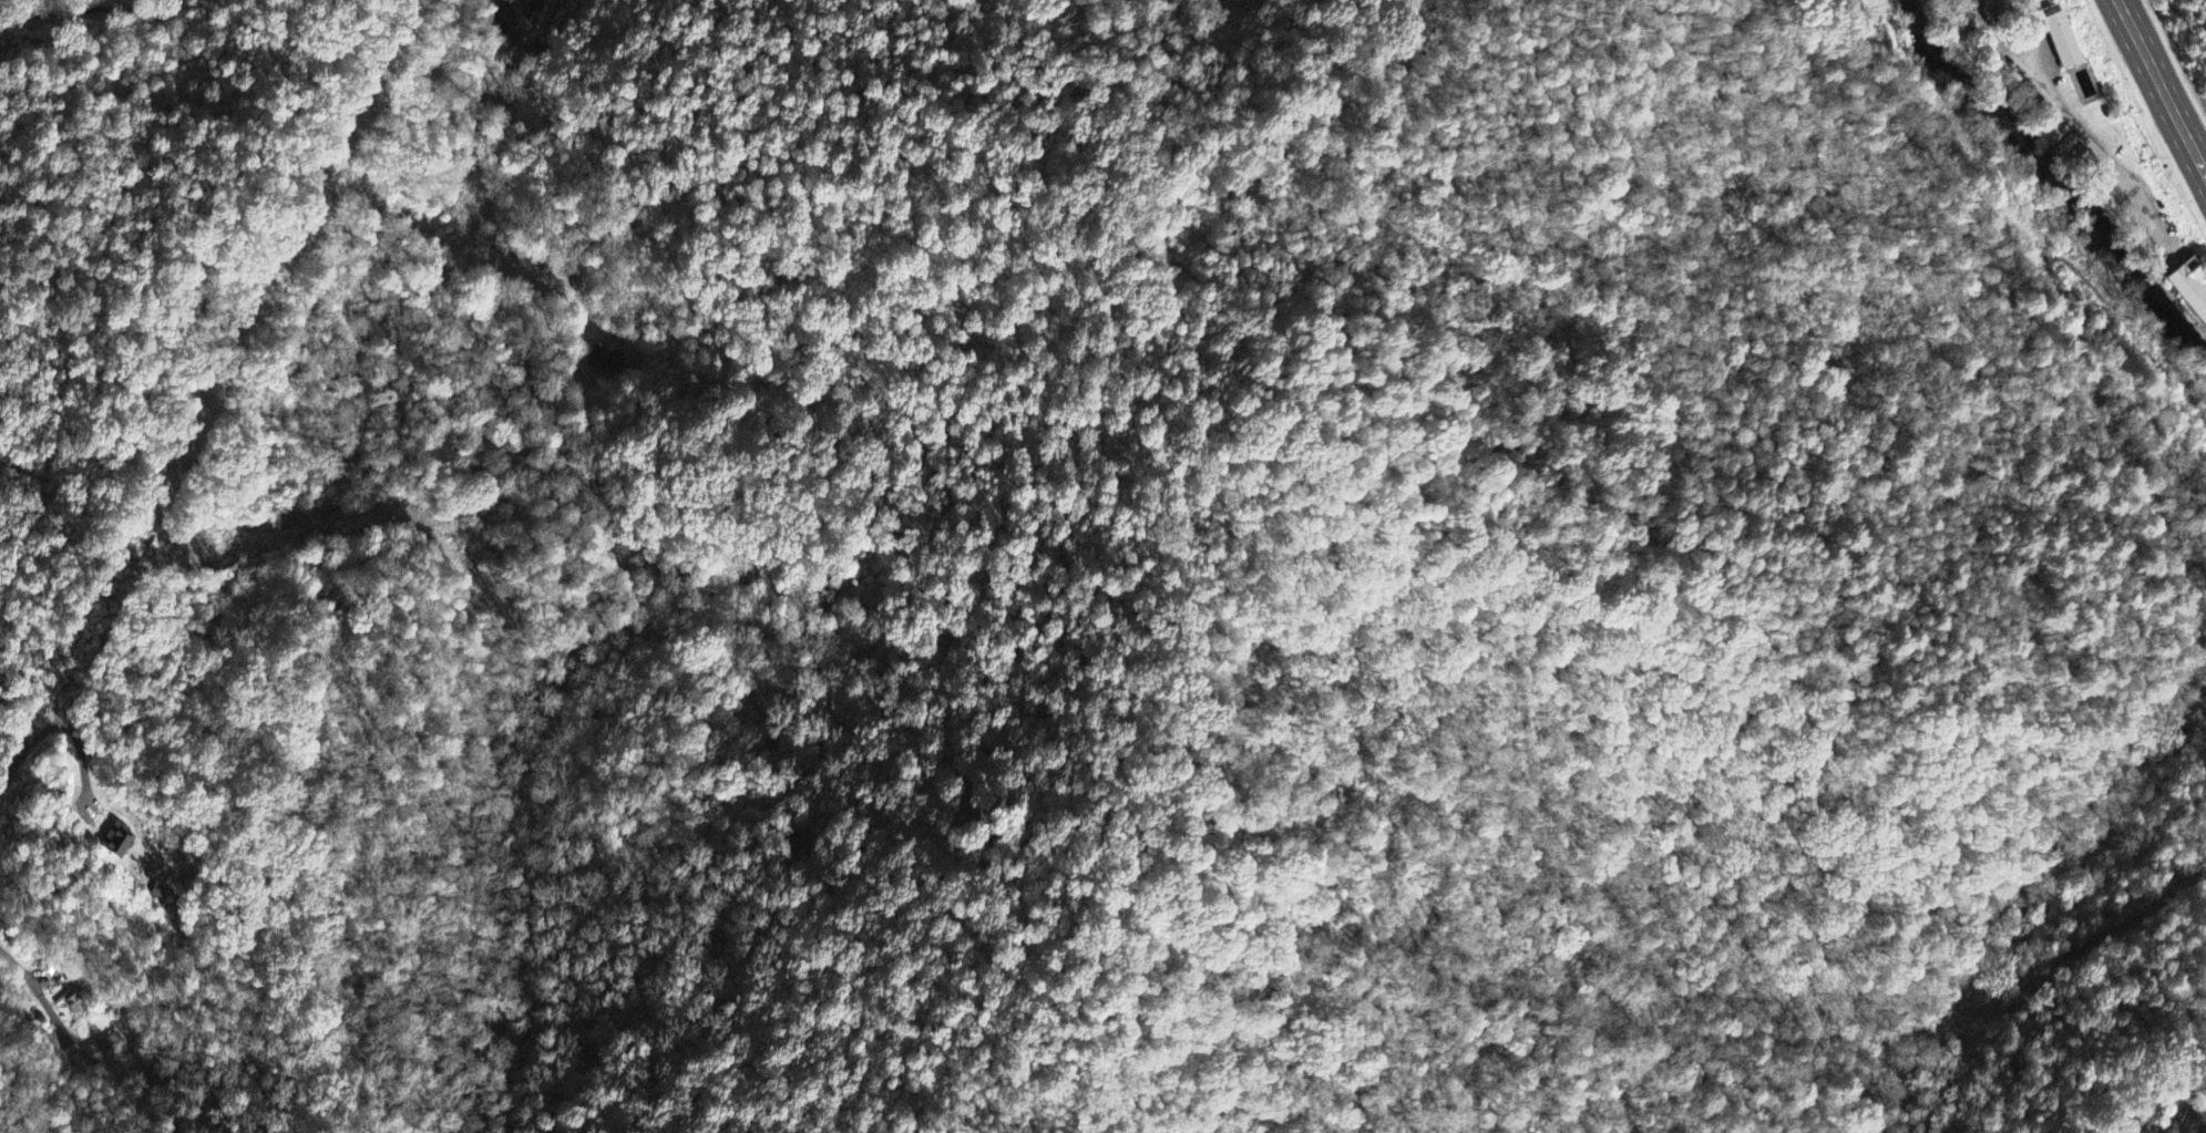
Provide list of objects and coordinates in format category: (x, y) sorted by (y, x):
building: (523, 9)
building: (2062, 47)
road: (2163, 85)
road: (2077, 132)
building: (2065, 146)
building: (116, 842)
building: (75, 1005)
building: (104, 1051)
building: (2199, 1132)

